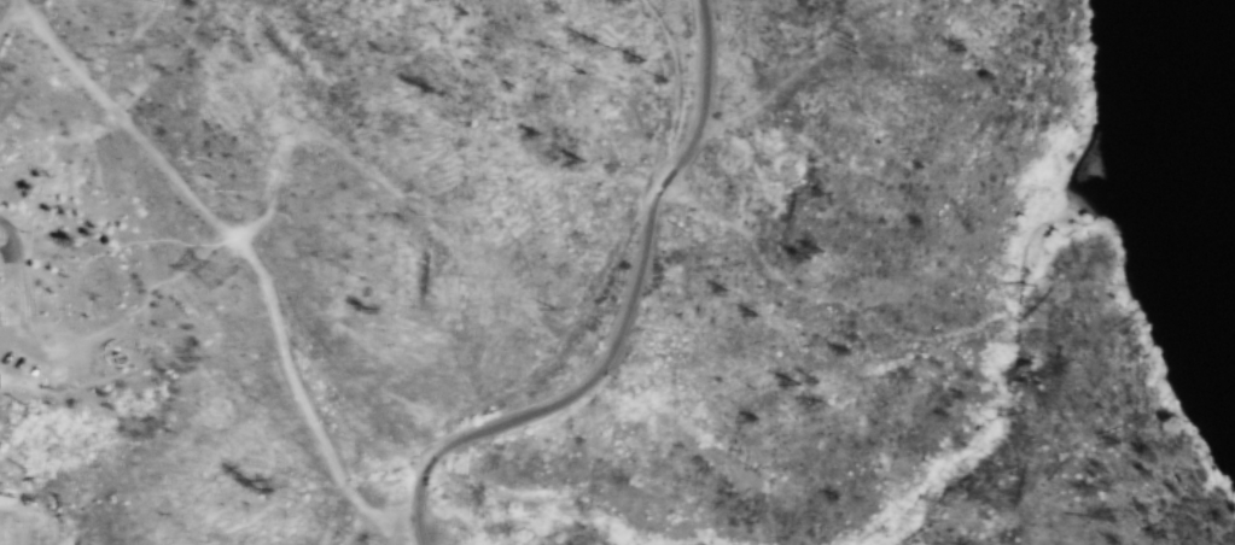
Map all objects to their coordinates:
road: (7, 14)
road: (675, 82)
road: (246, 252)
power tower: (209, 274)
road: (21, 280)
road: (623, 320)
road: (12, 345)
road: (46, 346)

